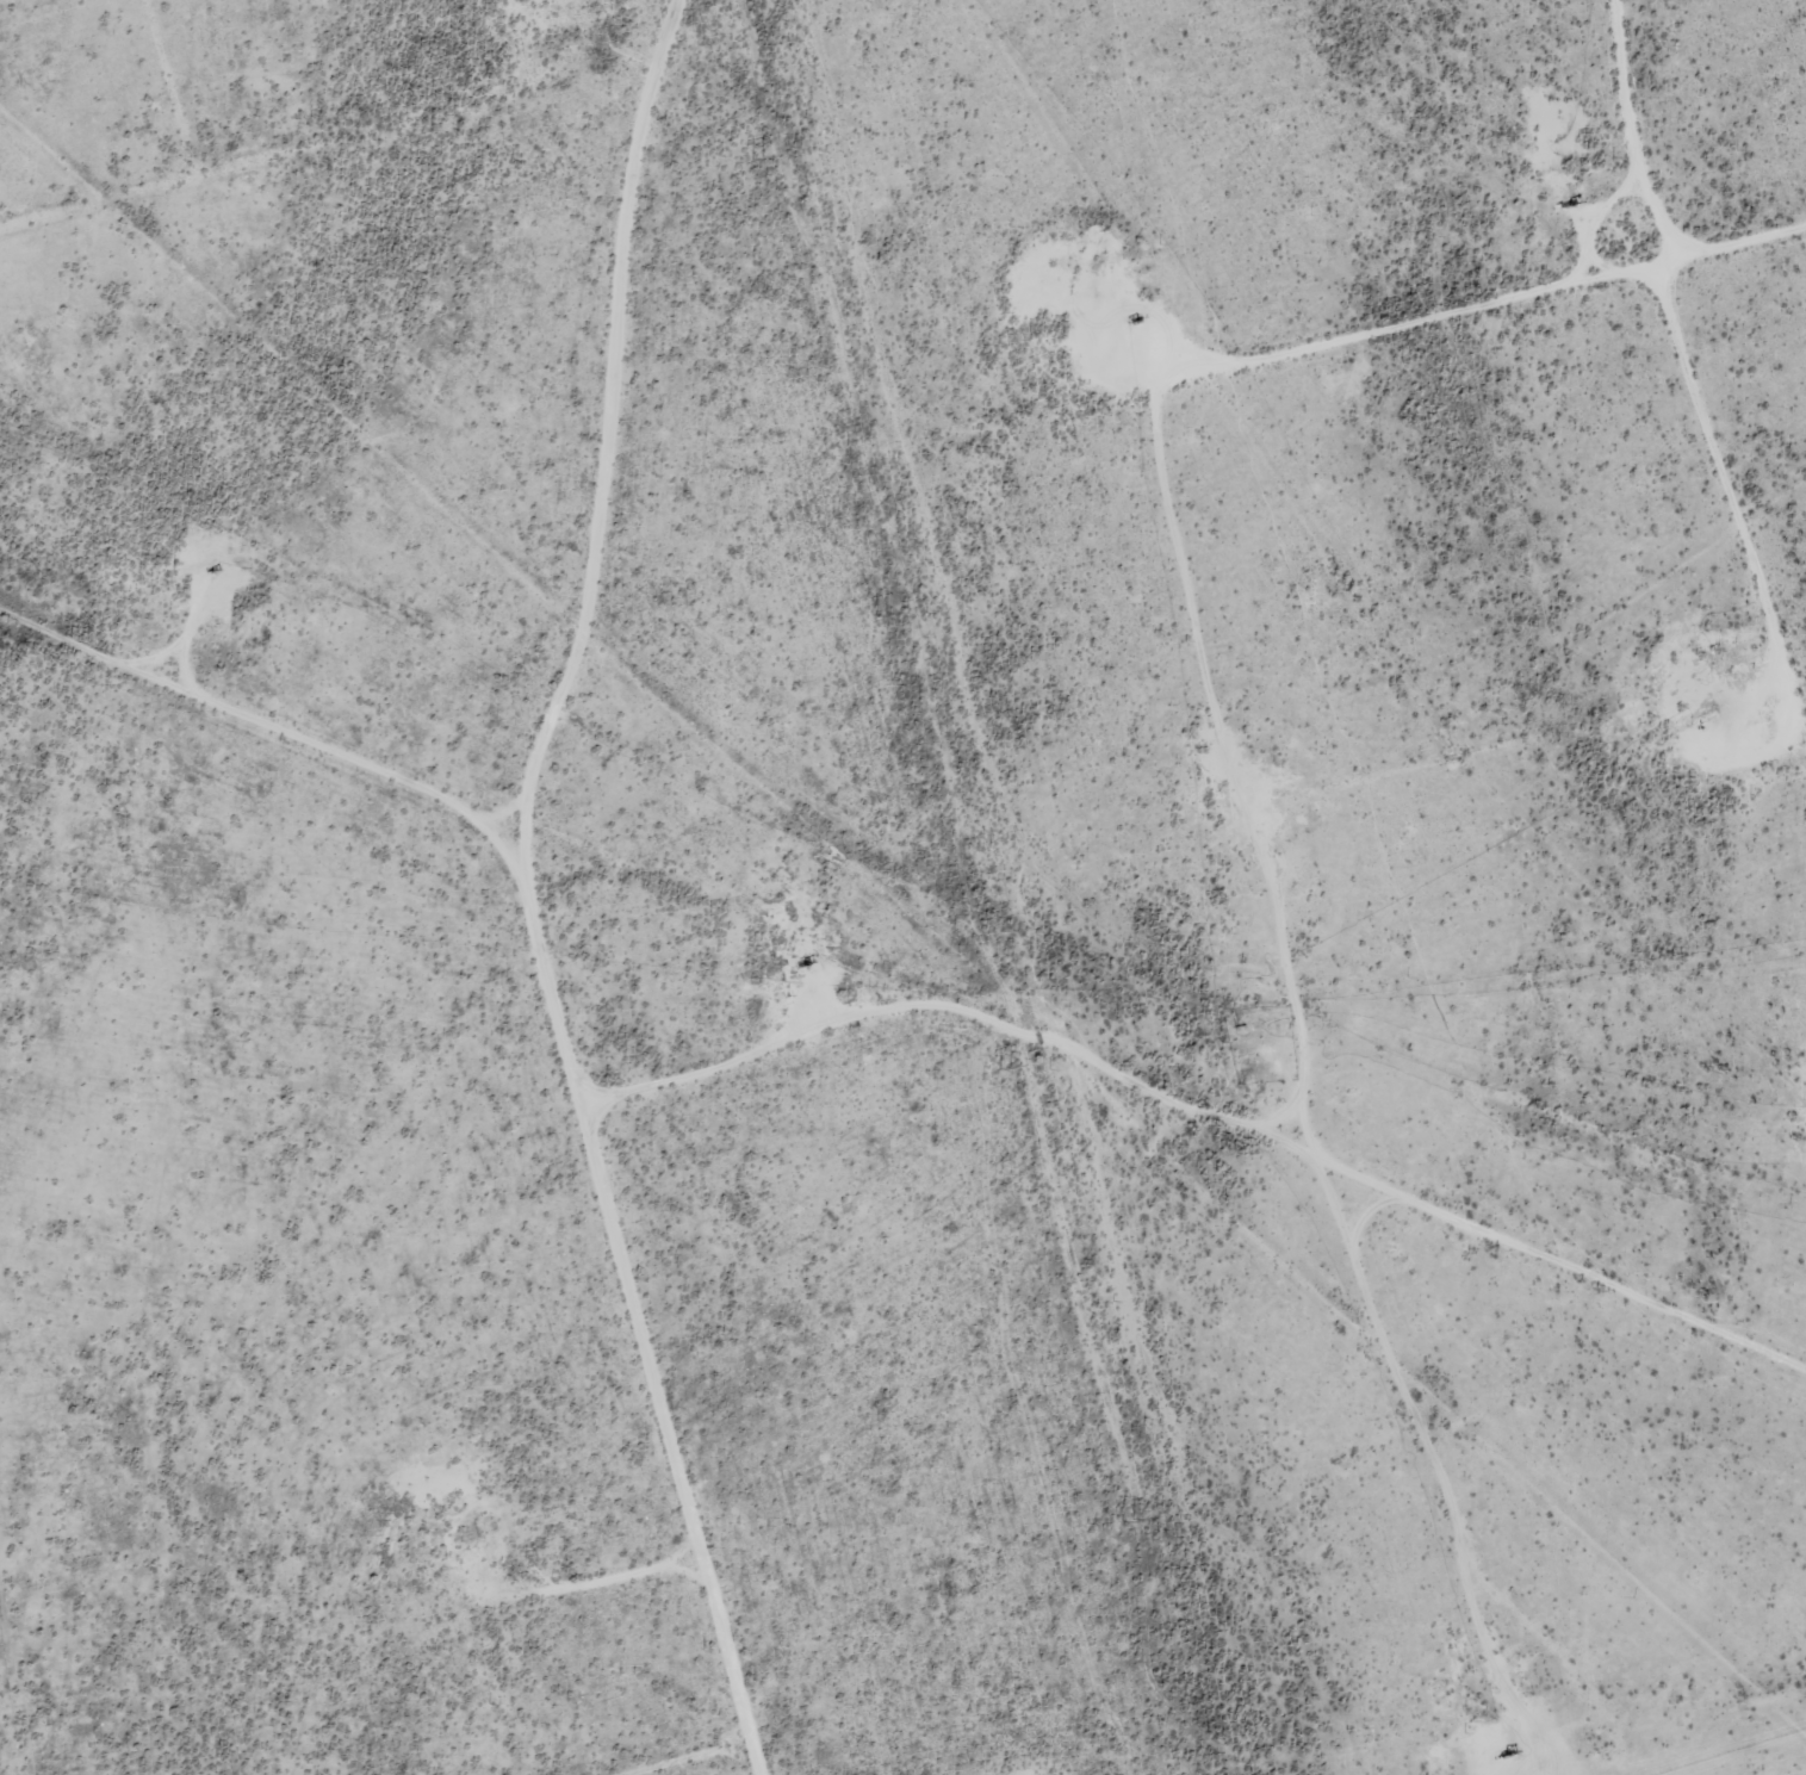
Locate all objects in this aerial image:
power tower: (756, 159)
road: (643, 324)
road: (322, 327)
power tower: (880, 614)
road: (572, 677)
road: (566, 1035)
road: (1161, 1036)
road: (725, 1066)
power tower: (1004, 1067)
road: (1169, 1097)
power tower: (1125, 1521)
road: (690, 1757)

